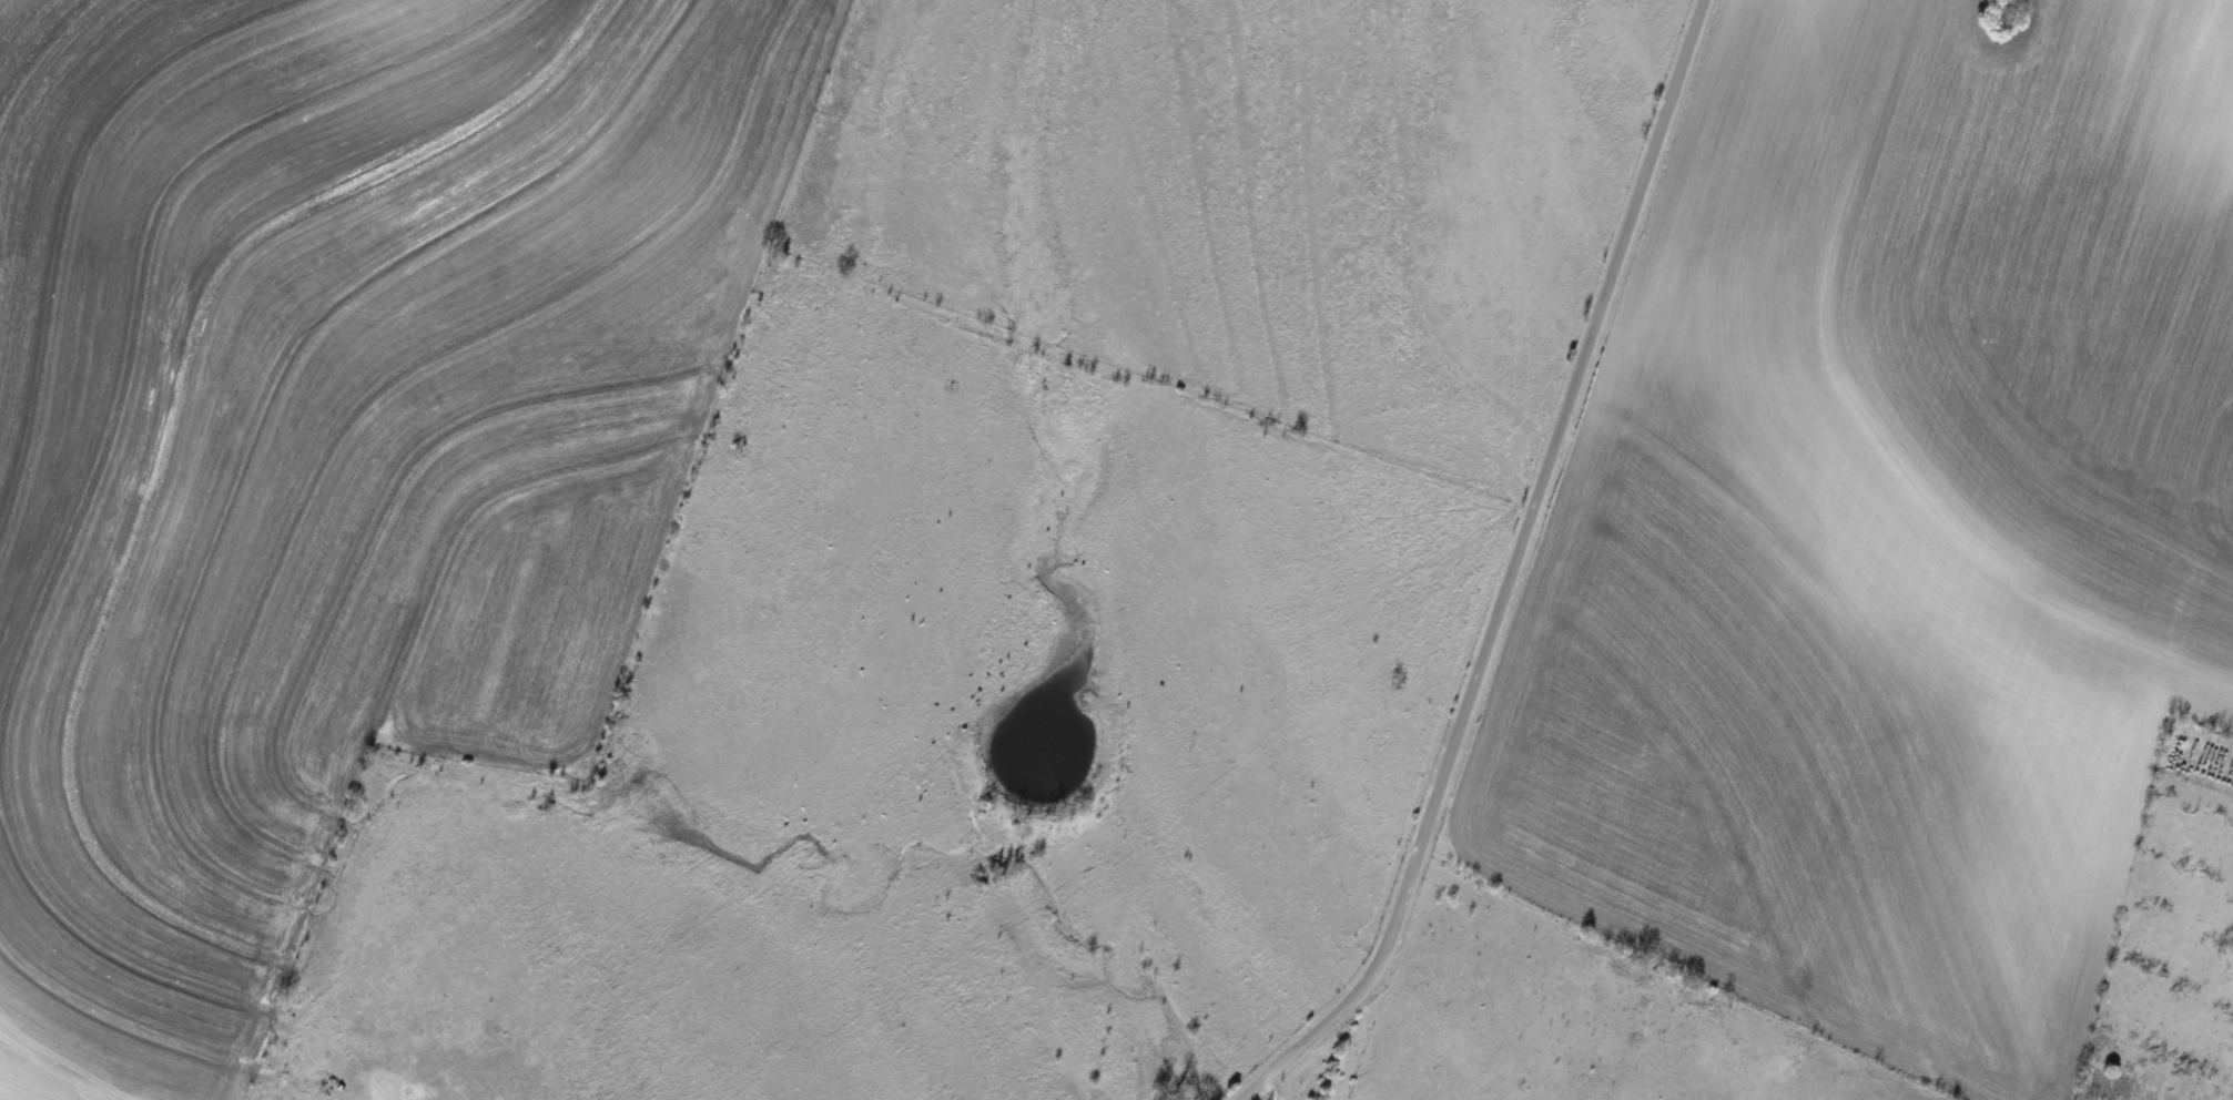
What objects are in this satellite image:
road: (1526, 566)
road: (1361, 1062)
road: (29, 1074)

